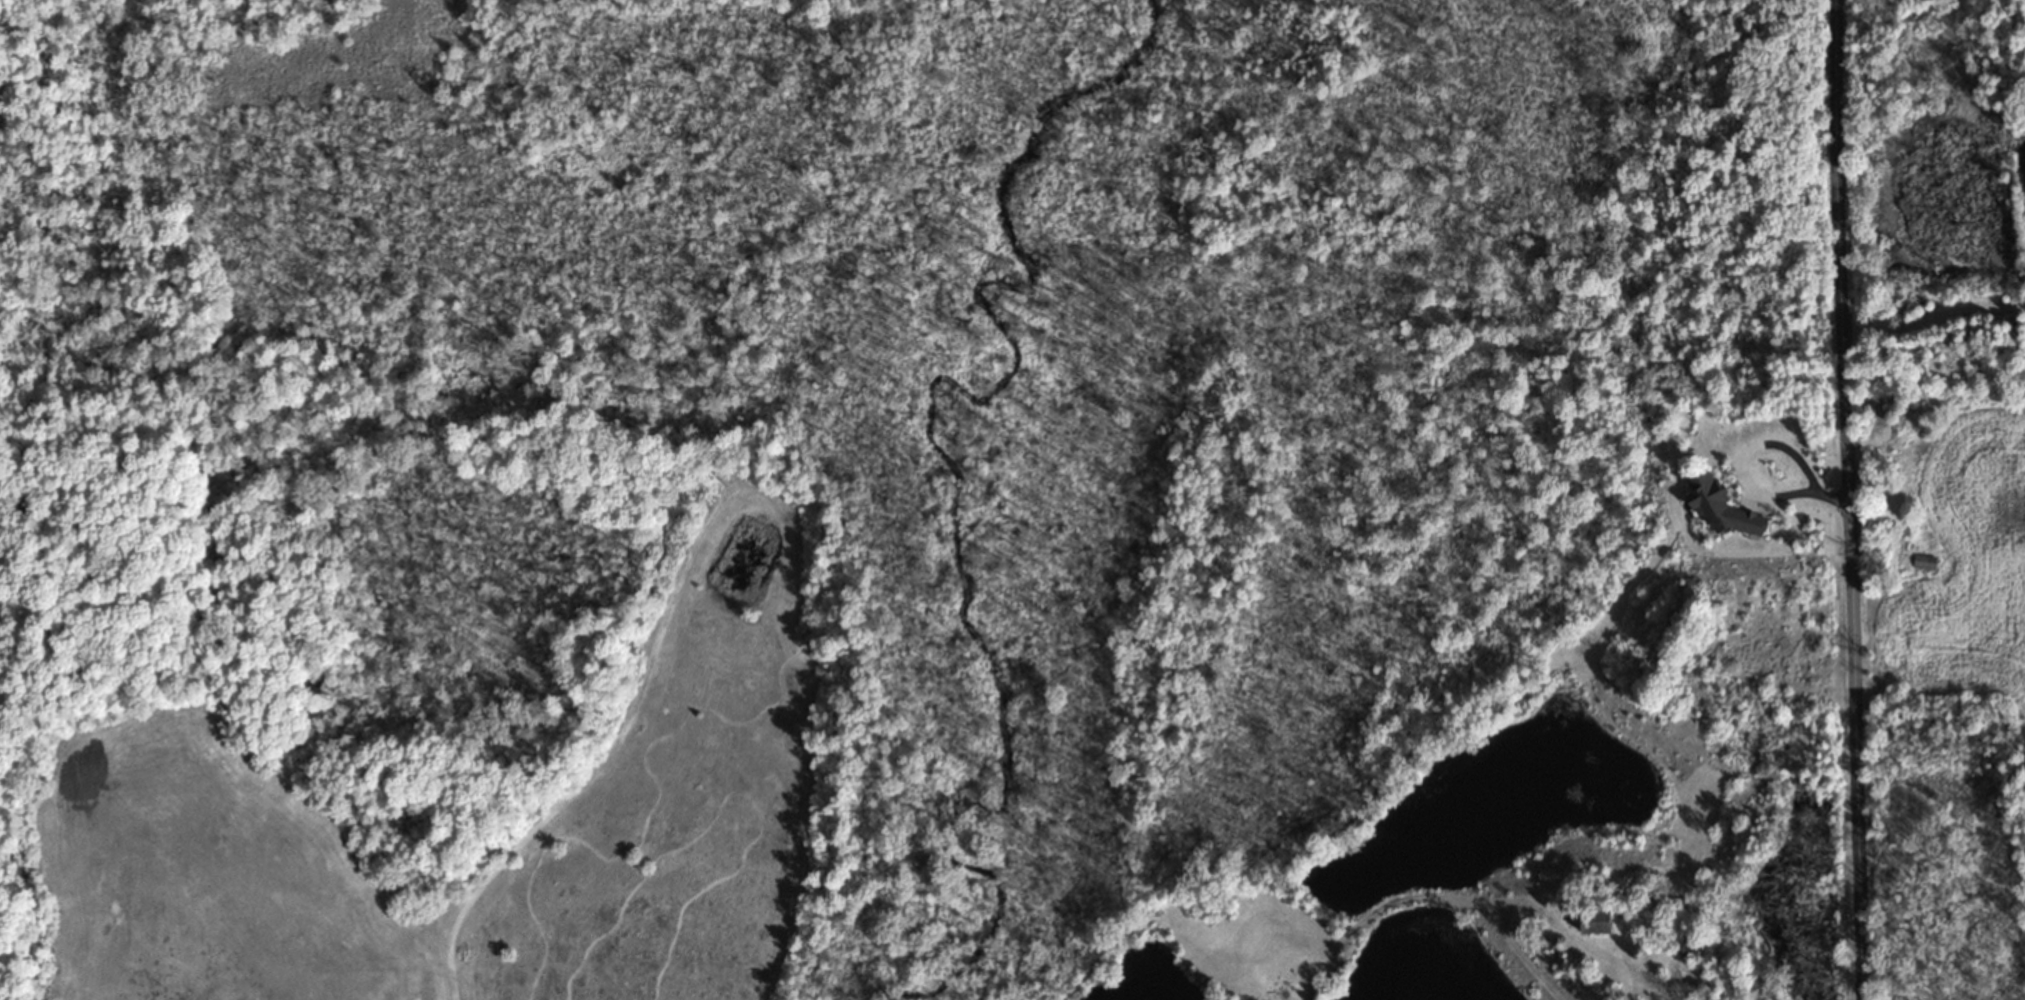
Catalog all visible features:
road: (1934, 322)
building: (1898, 437)
road: (1753, 447)
road: (1850, 499)
building: (1724, 508)
building: (1923, 564)
building: (1602, 924)
building: (1690, 948)
road: (1687, 982)

